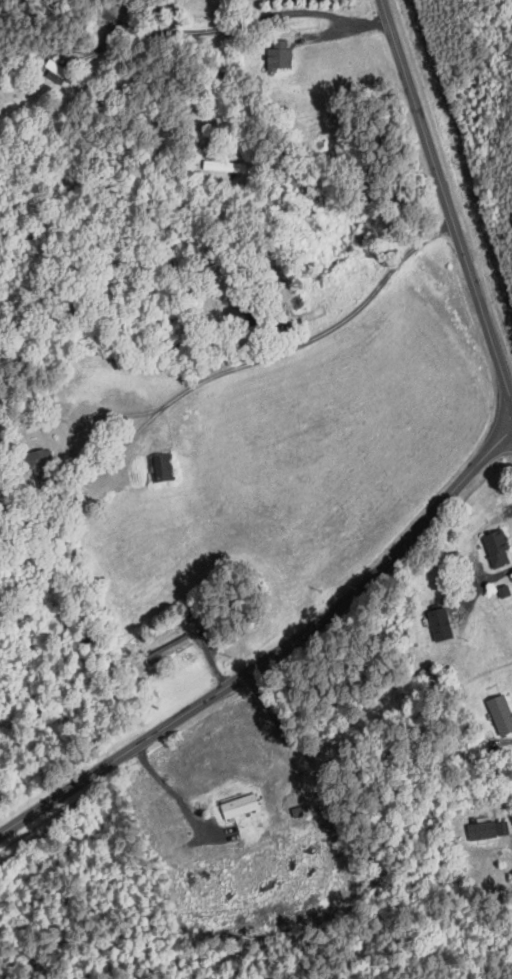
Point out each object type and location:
road: (263, 17)
building: (279, 54)
building: (225, 165)
road: (447, 200)
road: (209, 377)
building: (37, 463)
building: (163, 466)
building: (496, 546)
building: (503, 590)
building: (440, 623)
road: (273, 651)
building: (500, 713)
road: (509, 739)
road: (172, 785)
building: (240, 806)
building: (486, 827)

